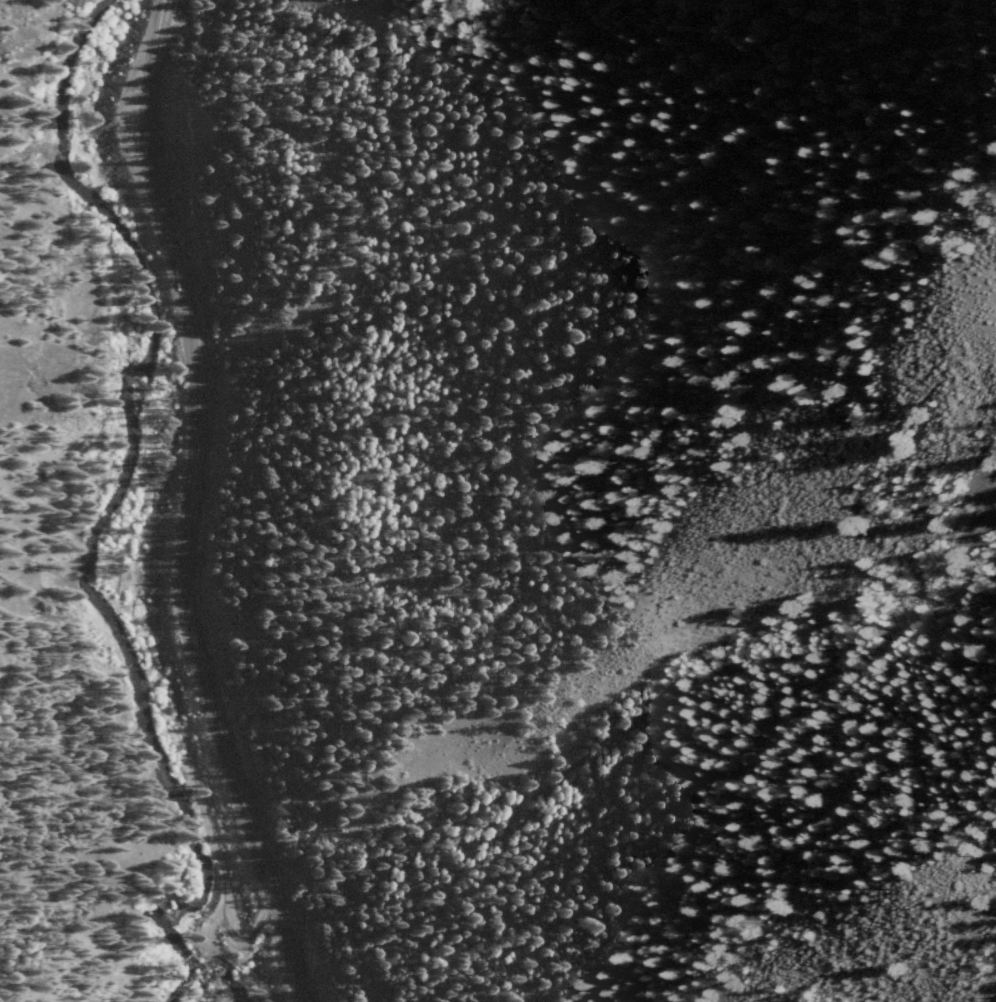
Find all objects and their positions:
road: (188, 506)

